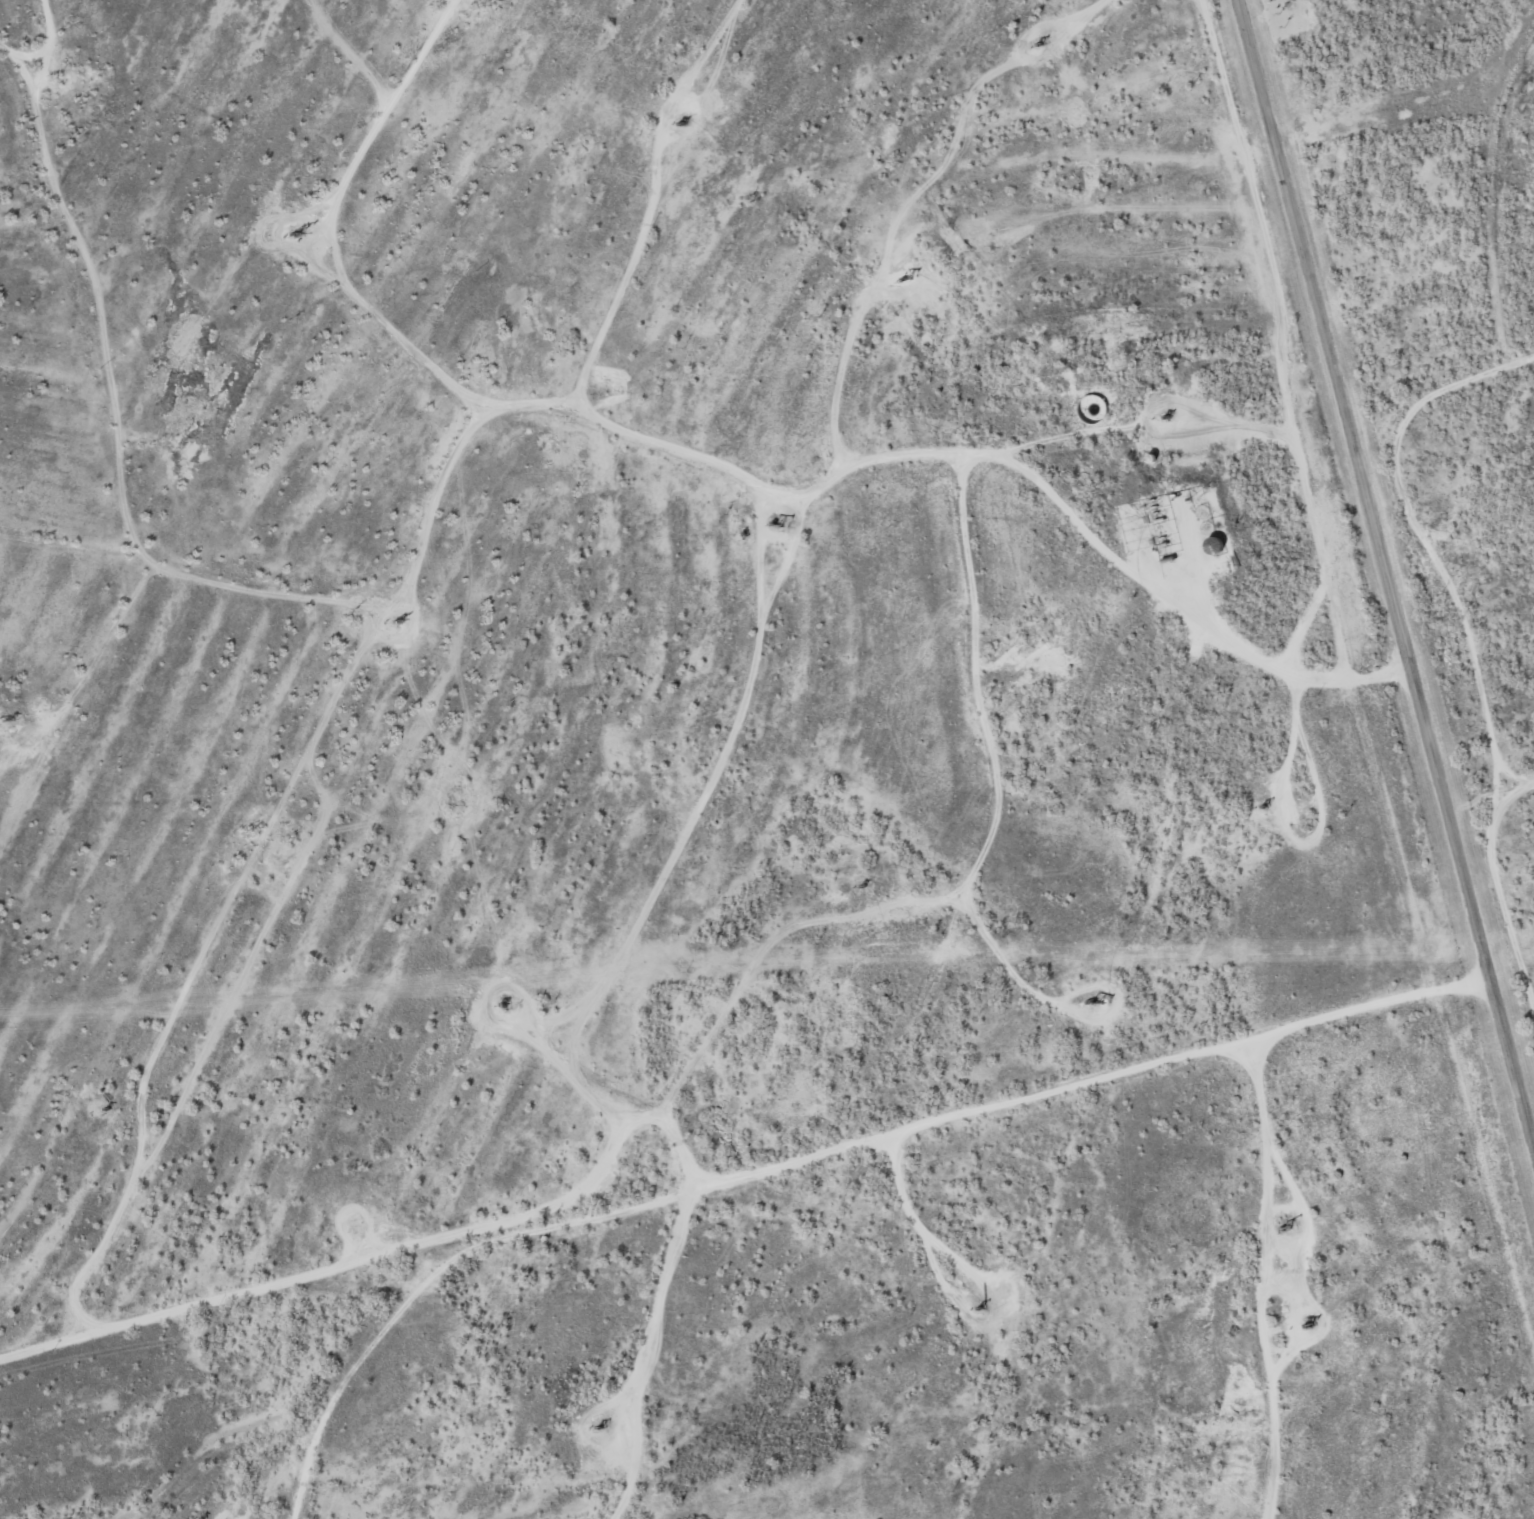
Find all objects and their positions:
road: (1385, 556)

